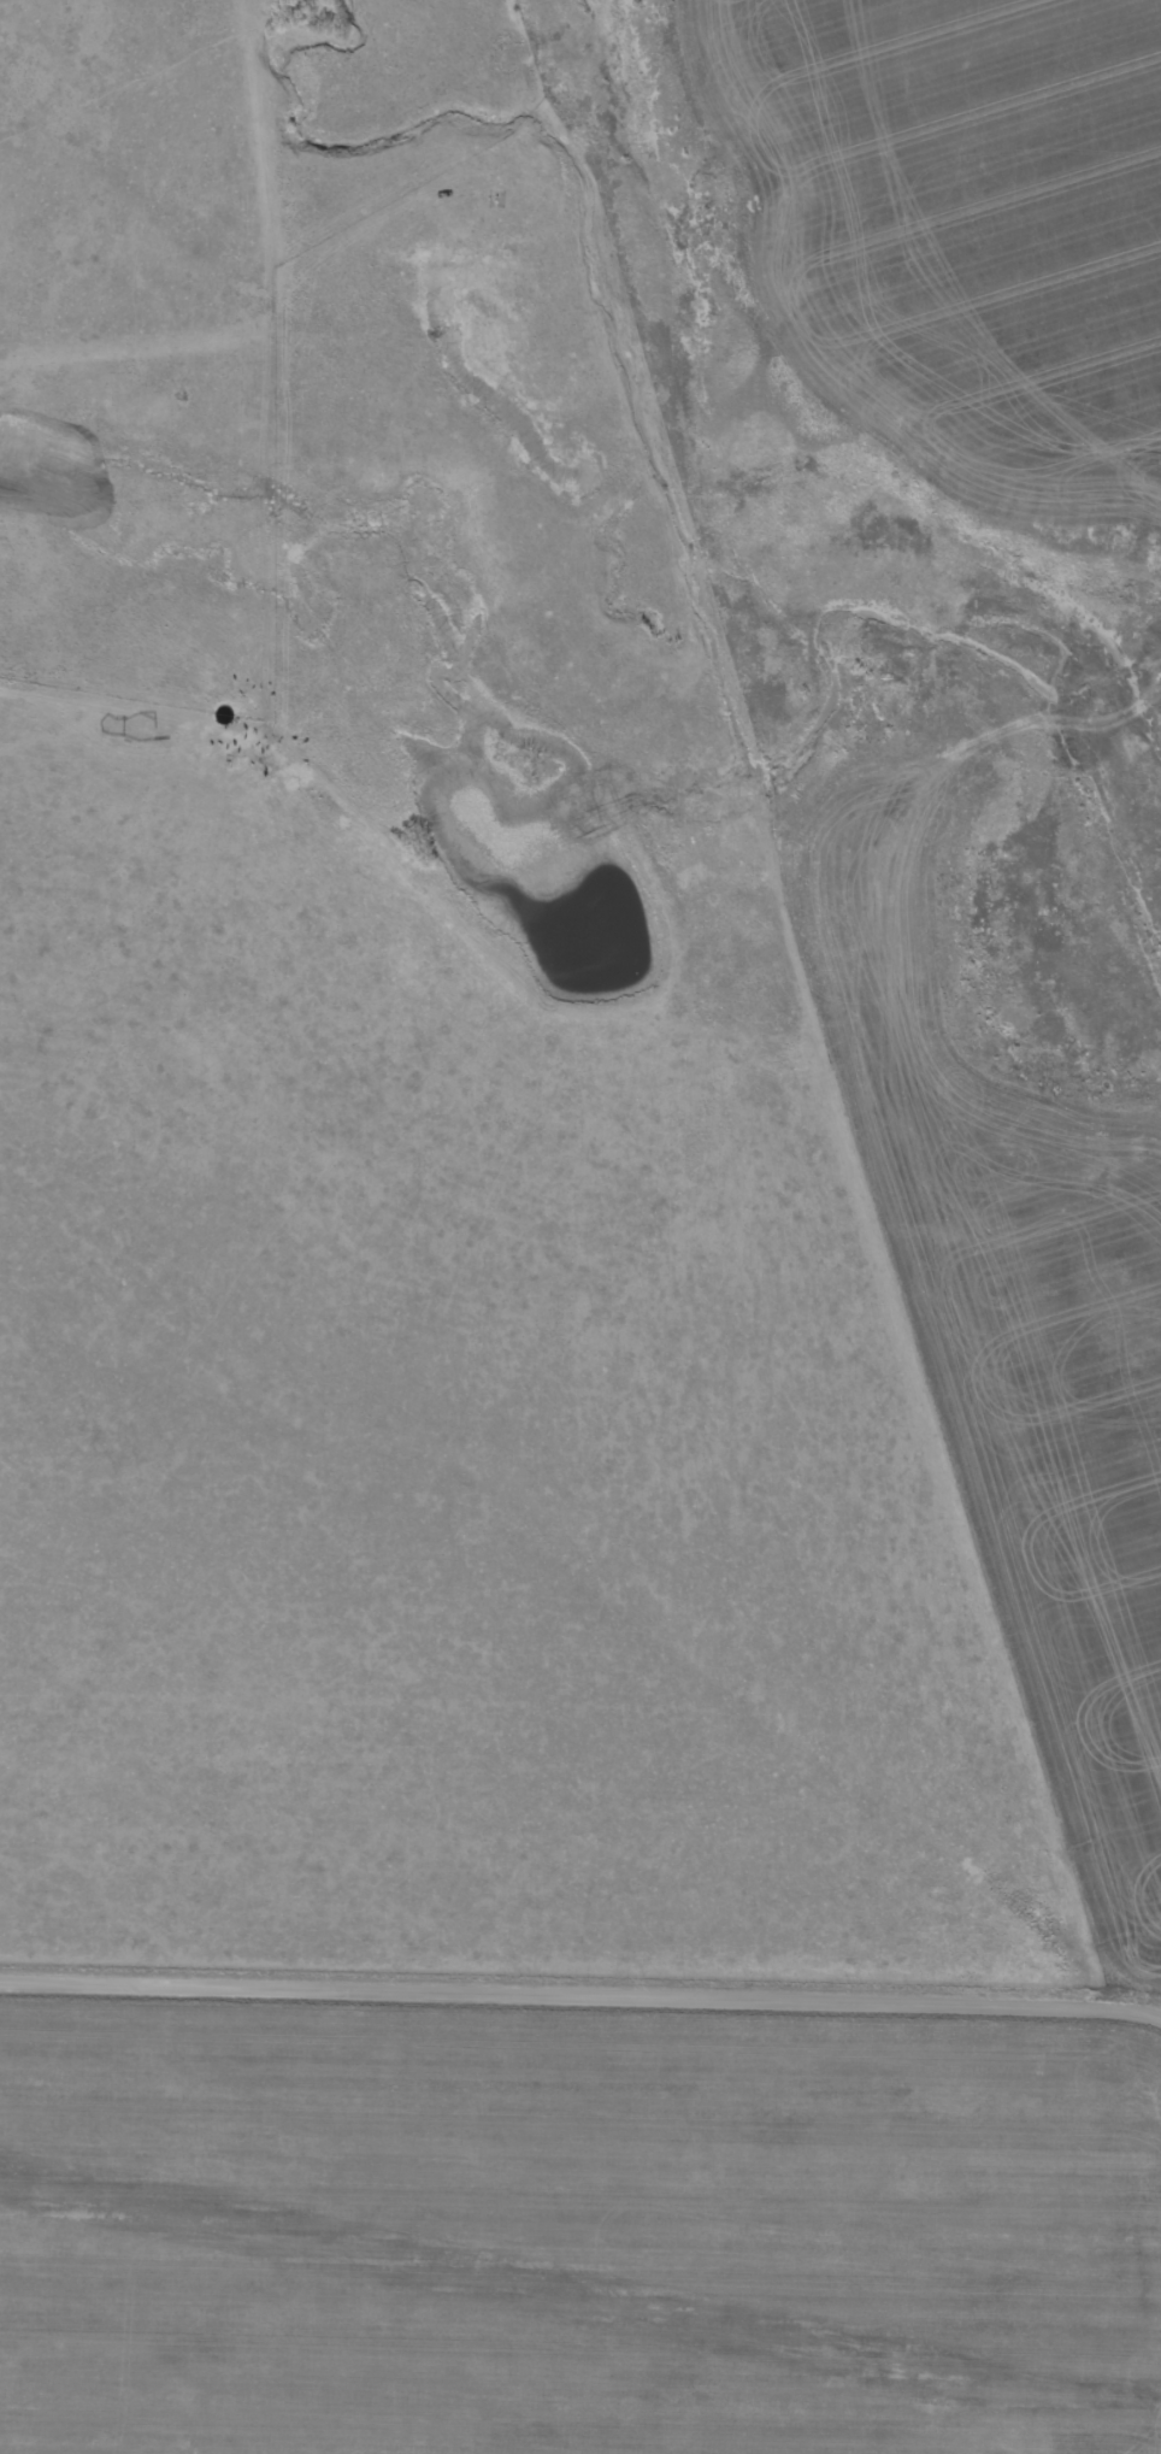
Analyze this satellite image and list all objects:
road: (580, 1993)

